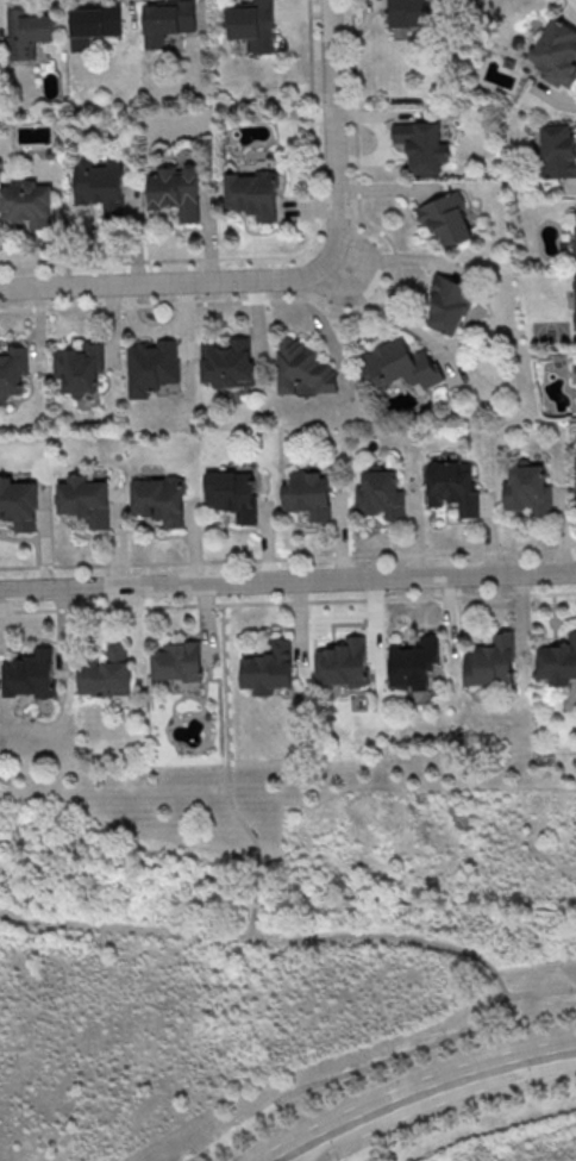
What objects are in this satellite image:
building: (413, 12)
building: (167, 19)
building: (93, 21)
building: (252, 24)
building: (27, 31)
building: (557, 52)
building: (422, 144)
building: (558, 150)
building: (100, 185)
building: (176, 188)
building: (252, 193)
building: (25, 204)
building: (447, 218)
building: (575, 231)
road: (280, 256)
road: (298, 276)
building: (575, 293)
building: (449, 304)
road: (352, 314)
building: (227, 362)
building: (151, 364)
building: (302, 366)
building: (400, 366)
building: (79, 367)
building: (12, 369)
building: (452, 483)
building: (528, 488)
building: (380, 492)
building: (232, 493)
building: (308, 494)
building: (84, 498)
building: (158, 498)
building: (18, 503)
road: (288, 558)
road: (288, 579)
road: (288, 601)
building: (558, 660)
building: (177, 661)
building: (414, 661)
building: (492, 661)
building: (343, 662)
building: (269, 667)
building: (106, 672)
building: (30, 673)
road: (227, 735)
road: (255, 897)
park: (263, 934)
road: (264, 935)
road: (378, 1062)
road: (420, 1092)
park: (493, 1136)
road: (300, 1155)

